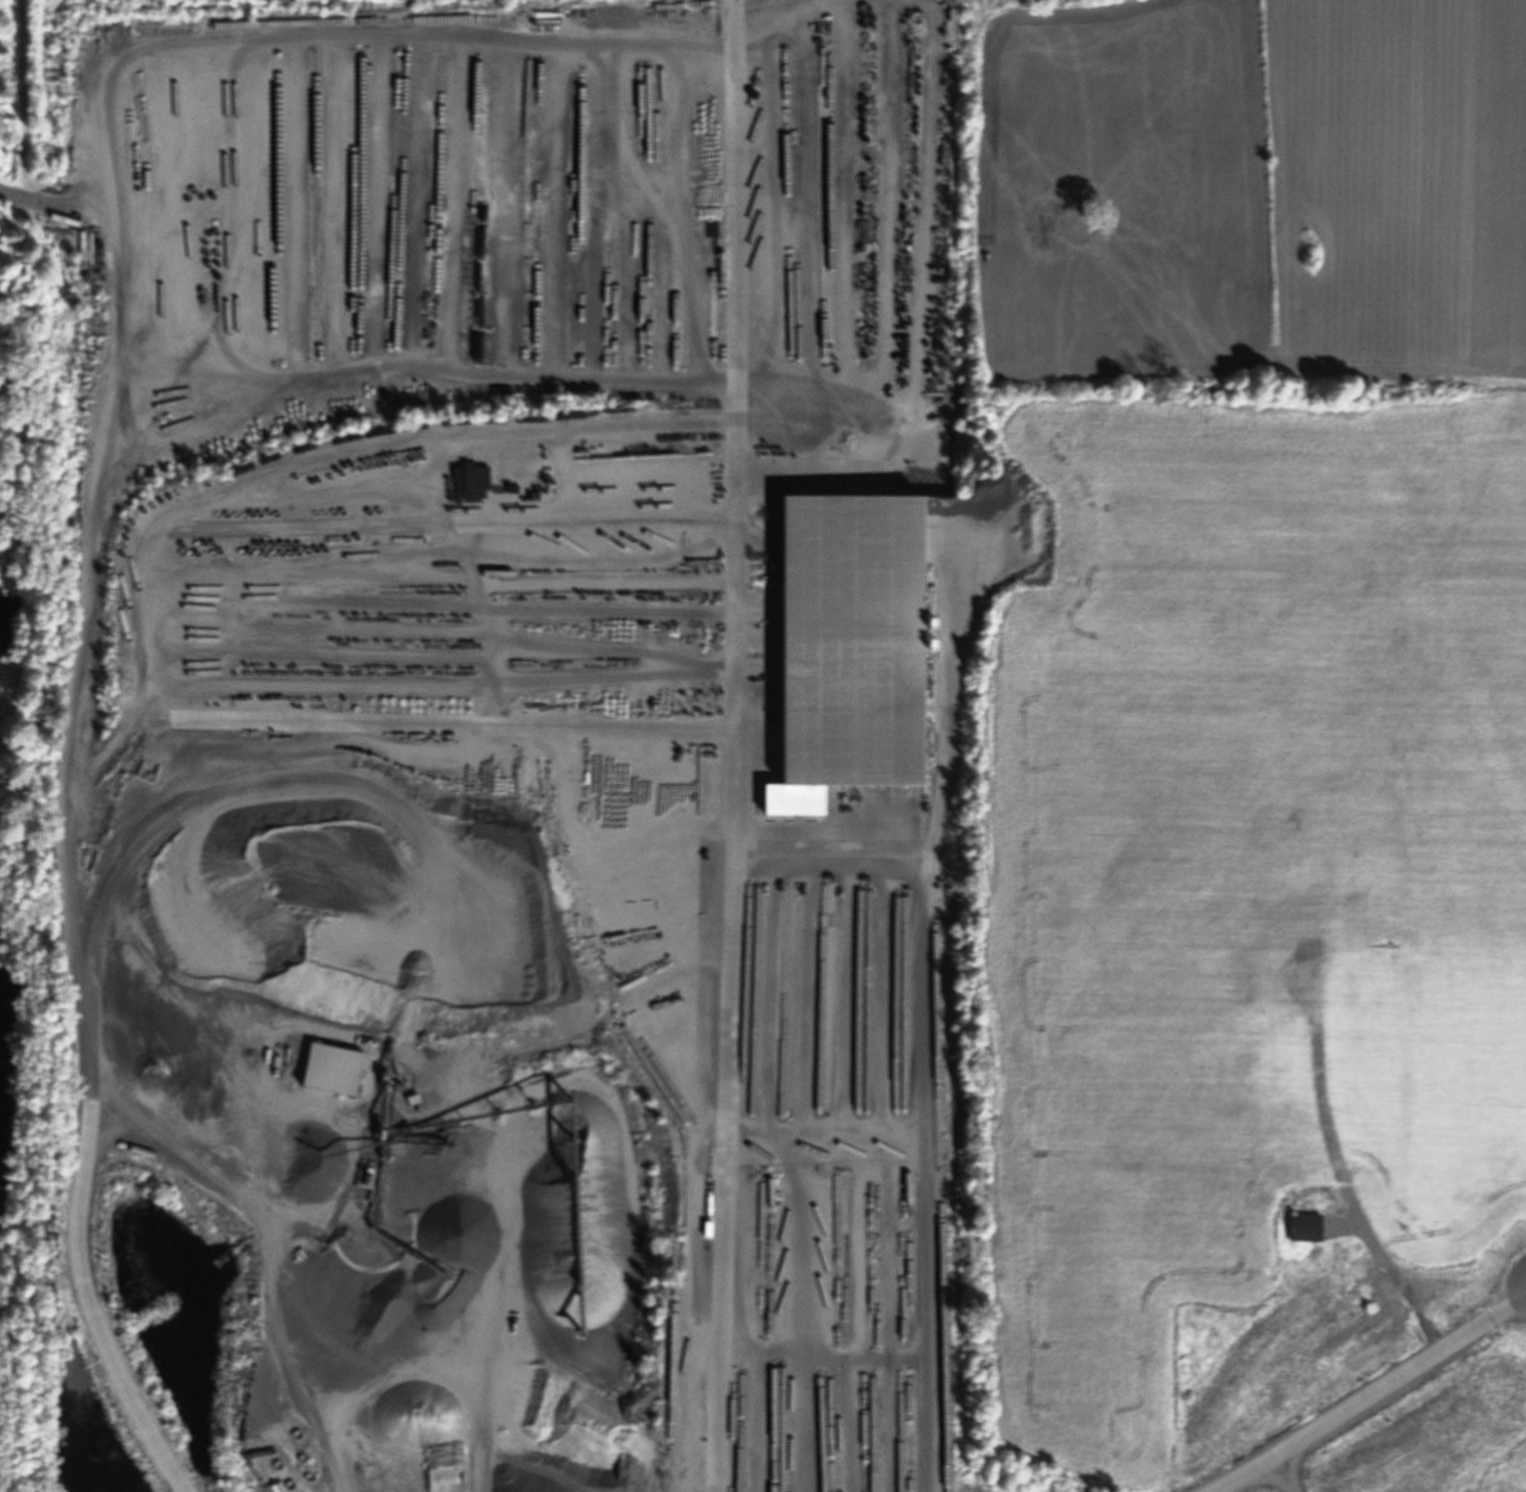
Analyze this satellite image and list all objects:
building: (381, 124)
building: (79, 169)
building: (381, 310)
river: (13, 640)
building: (843, 646)
road: (945, 794)
road: (68, 804)
quarry: (717, 806)
road: (732, 910)
building: (1275, 938)
building: (329, 1069)
building: (1300, 1226)
road: (1392, 1273)
road: (1366, 1392)
building: (1328, 1398)
quarry: (17, 1416)
building: (450, 1476)

